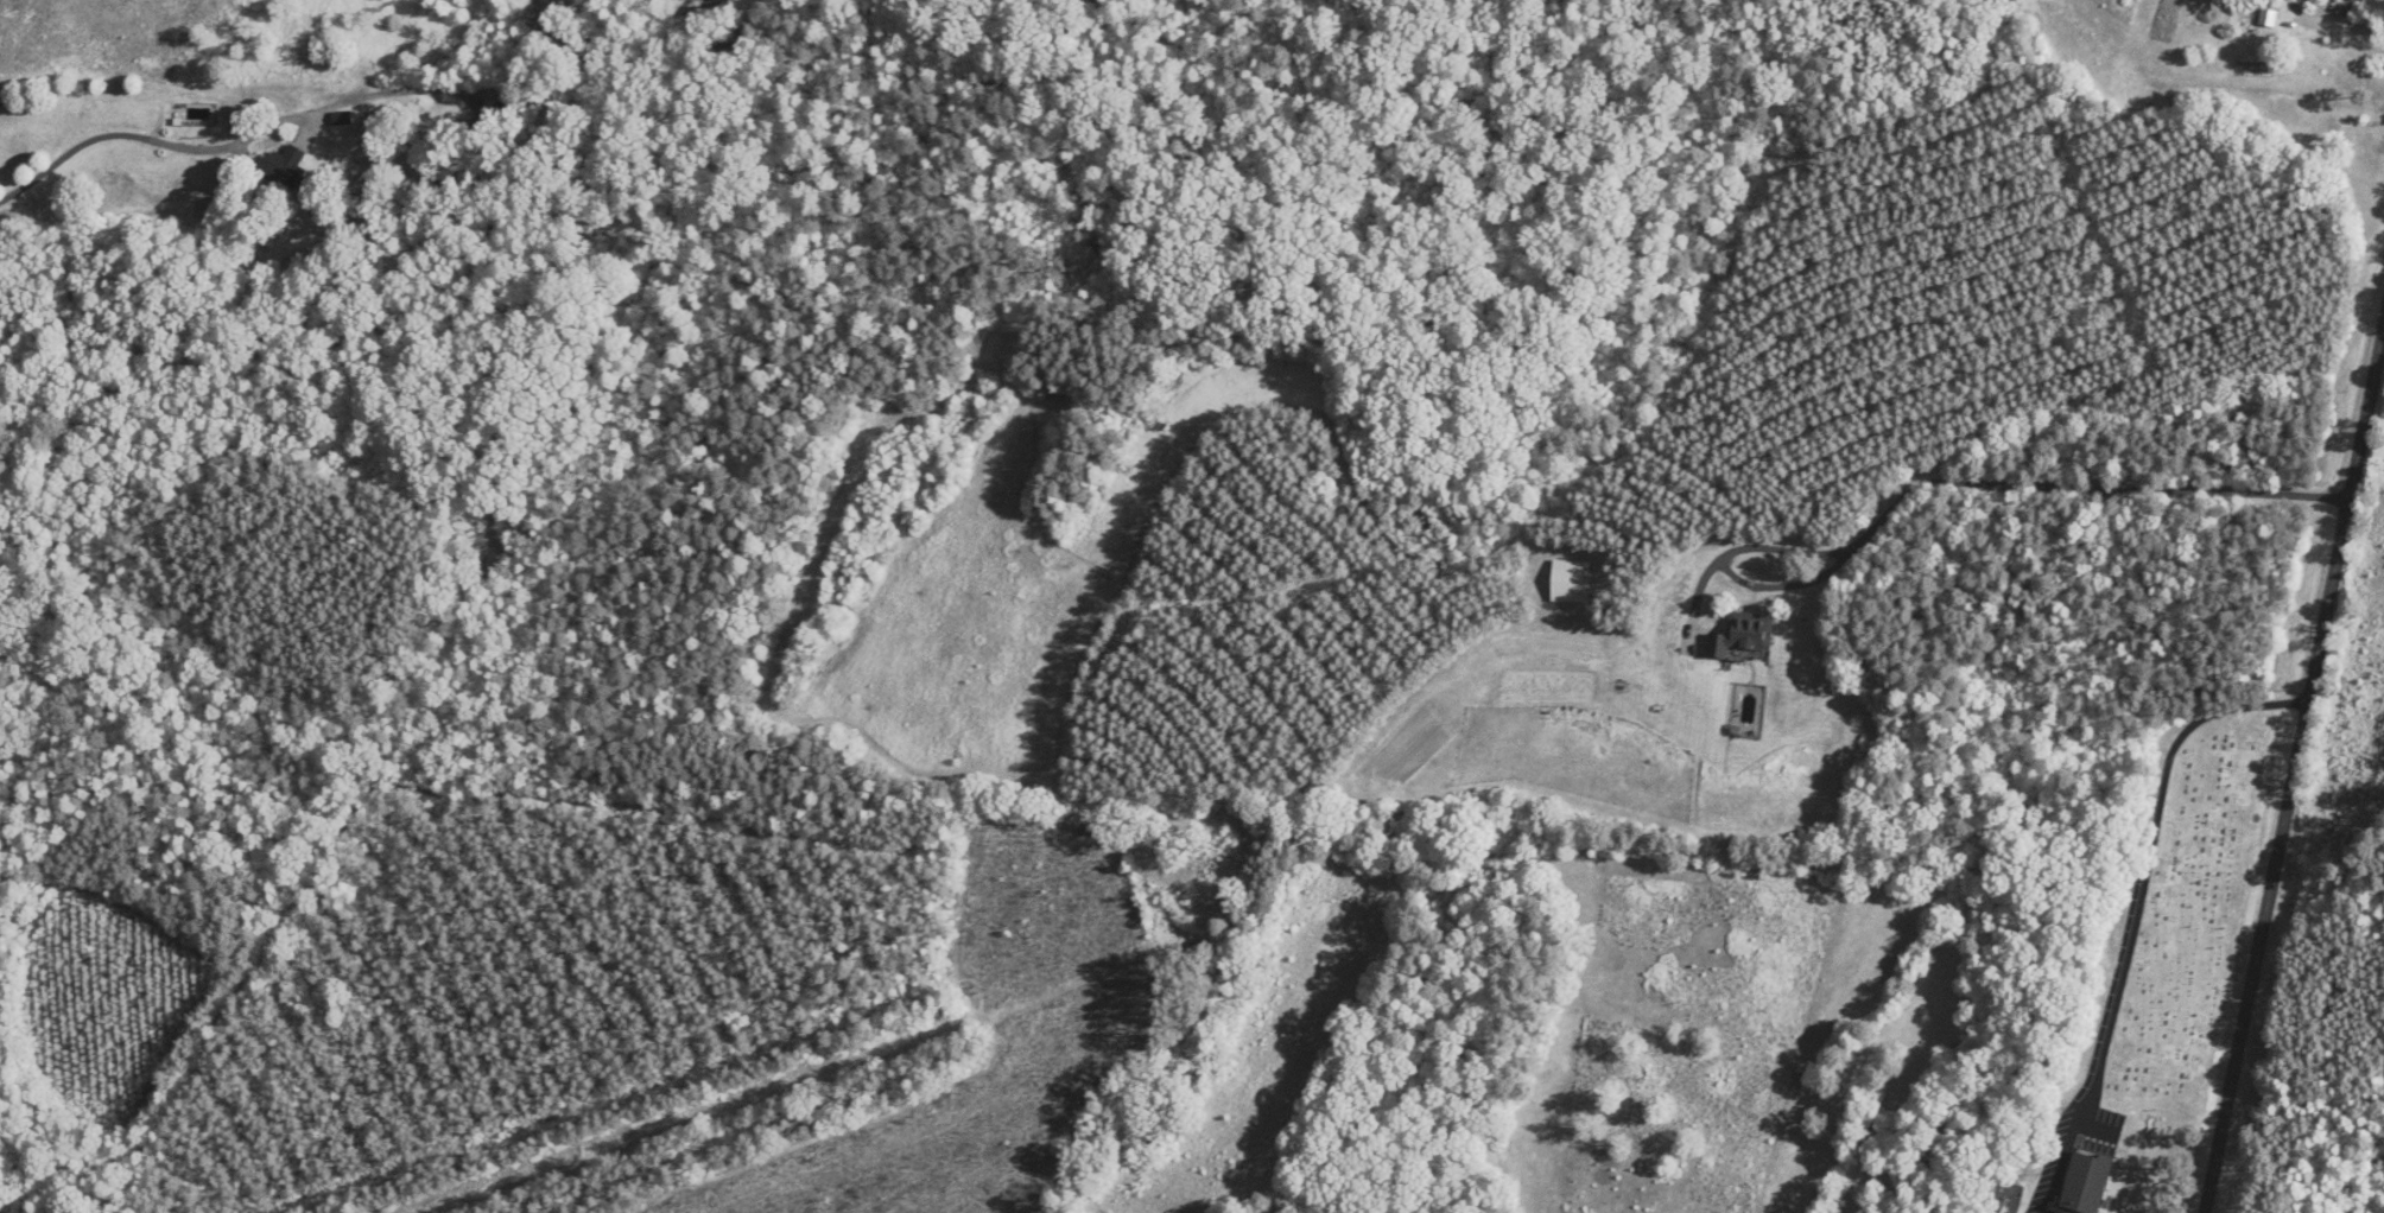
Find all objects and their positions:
building: (2268, 18)
road: (2351, 32)
road: (147, 138)
building: (290, 167)
road: (1944, 482)
building: (1742, 634)
road: (2296, 773)
road: (1783, 836)
park: (2193, 928)
road: (2122, 965)
building: (2086, 1182)

